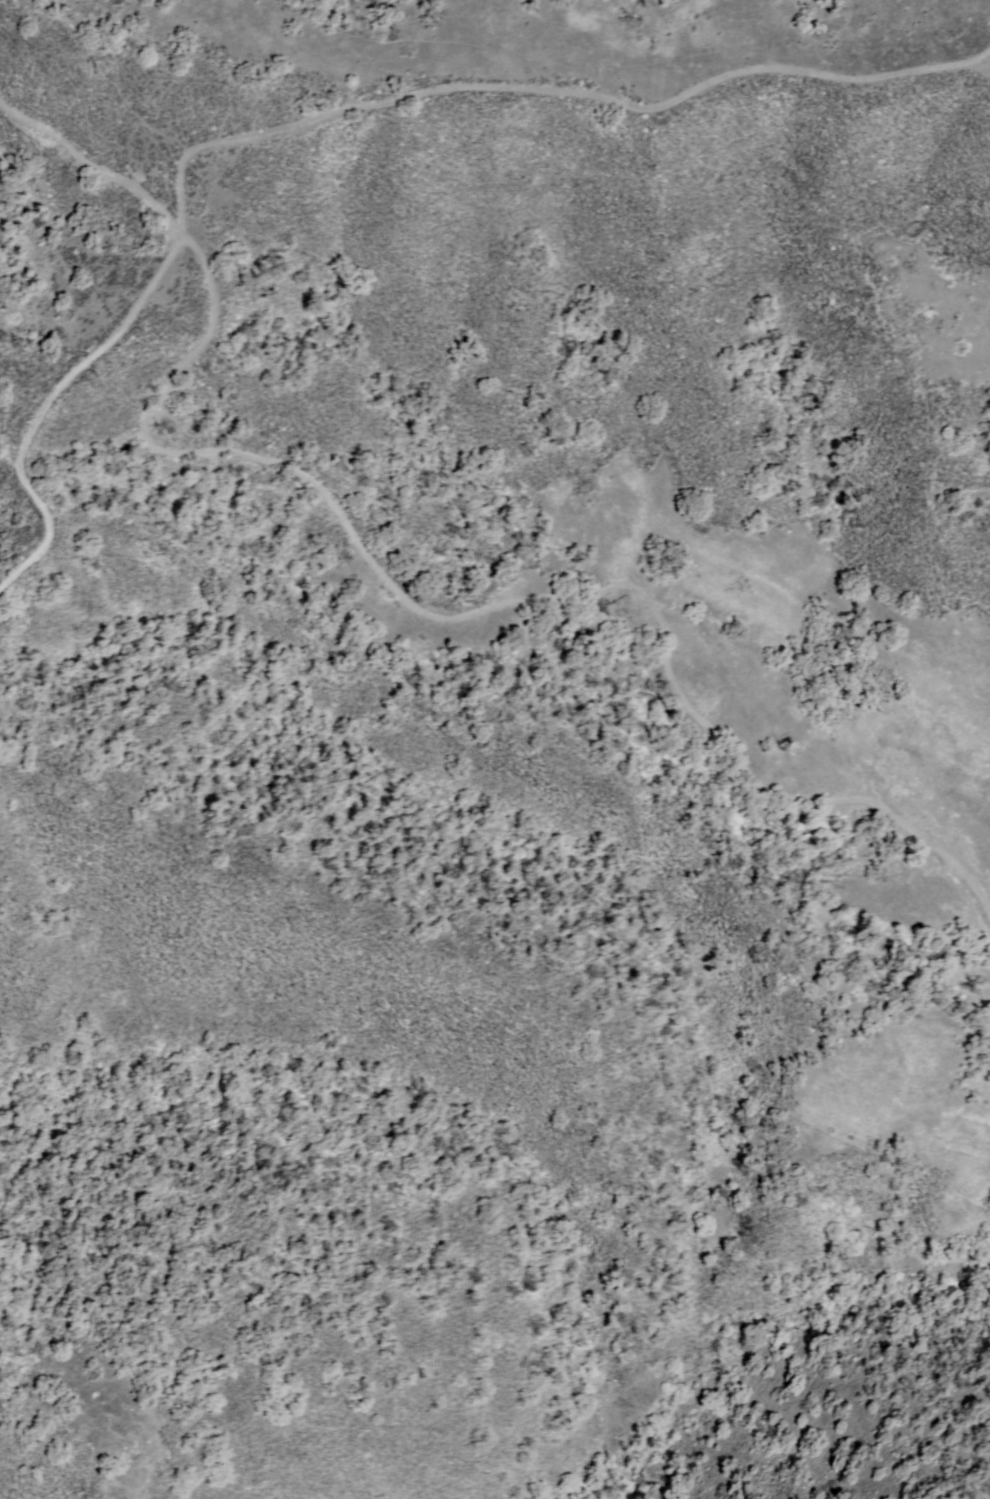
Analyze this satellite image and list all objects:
park: (504, 1169)

